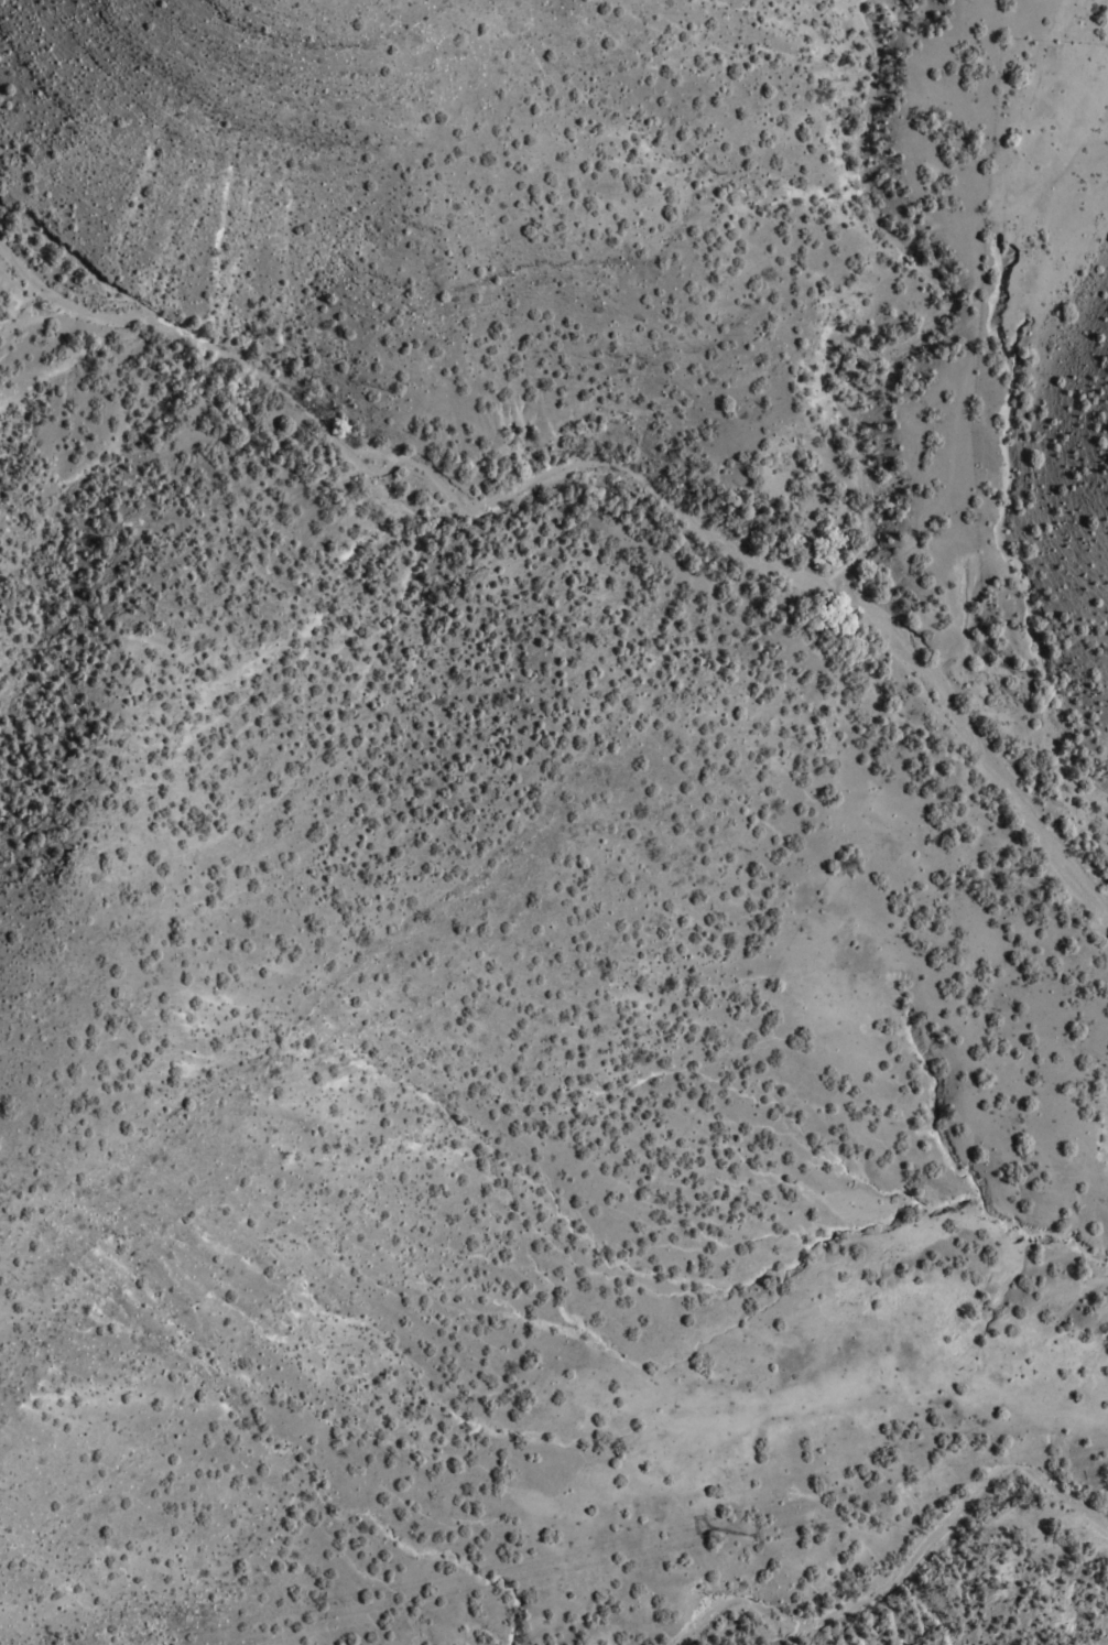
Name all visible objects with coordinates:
power tower: (739, 1533)

